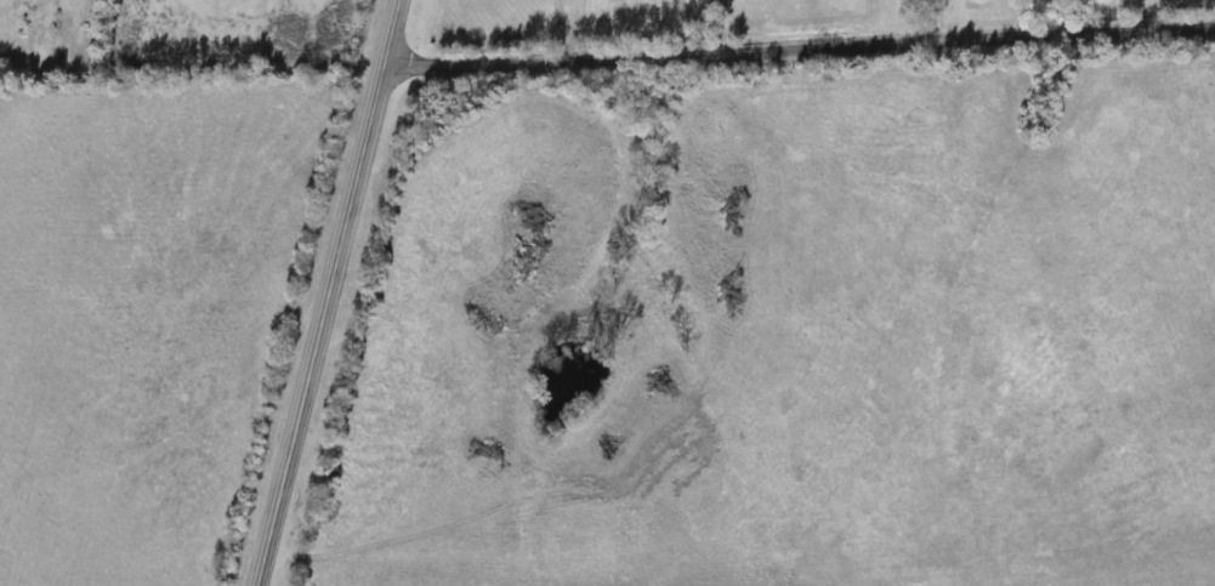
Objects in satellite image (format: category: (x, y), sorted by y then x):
road: (561, 30)
road: (799, 50)
road: (324, 292)

